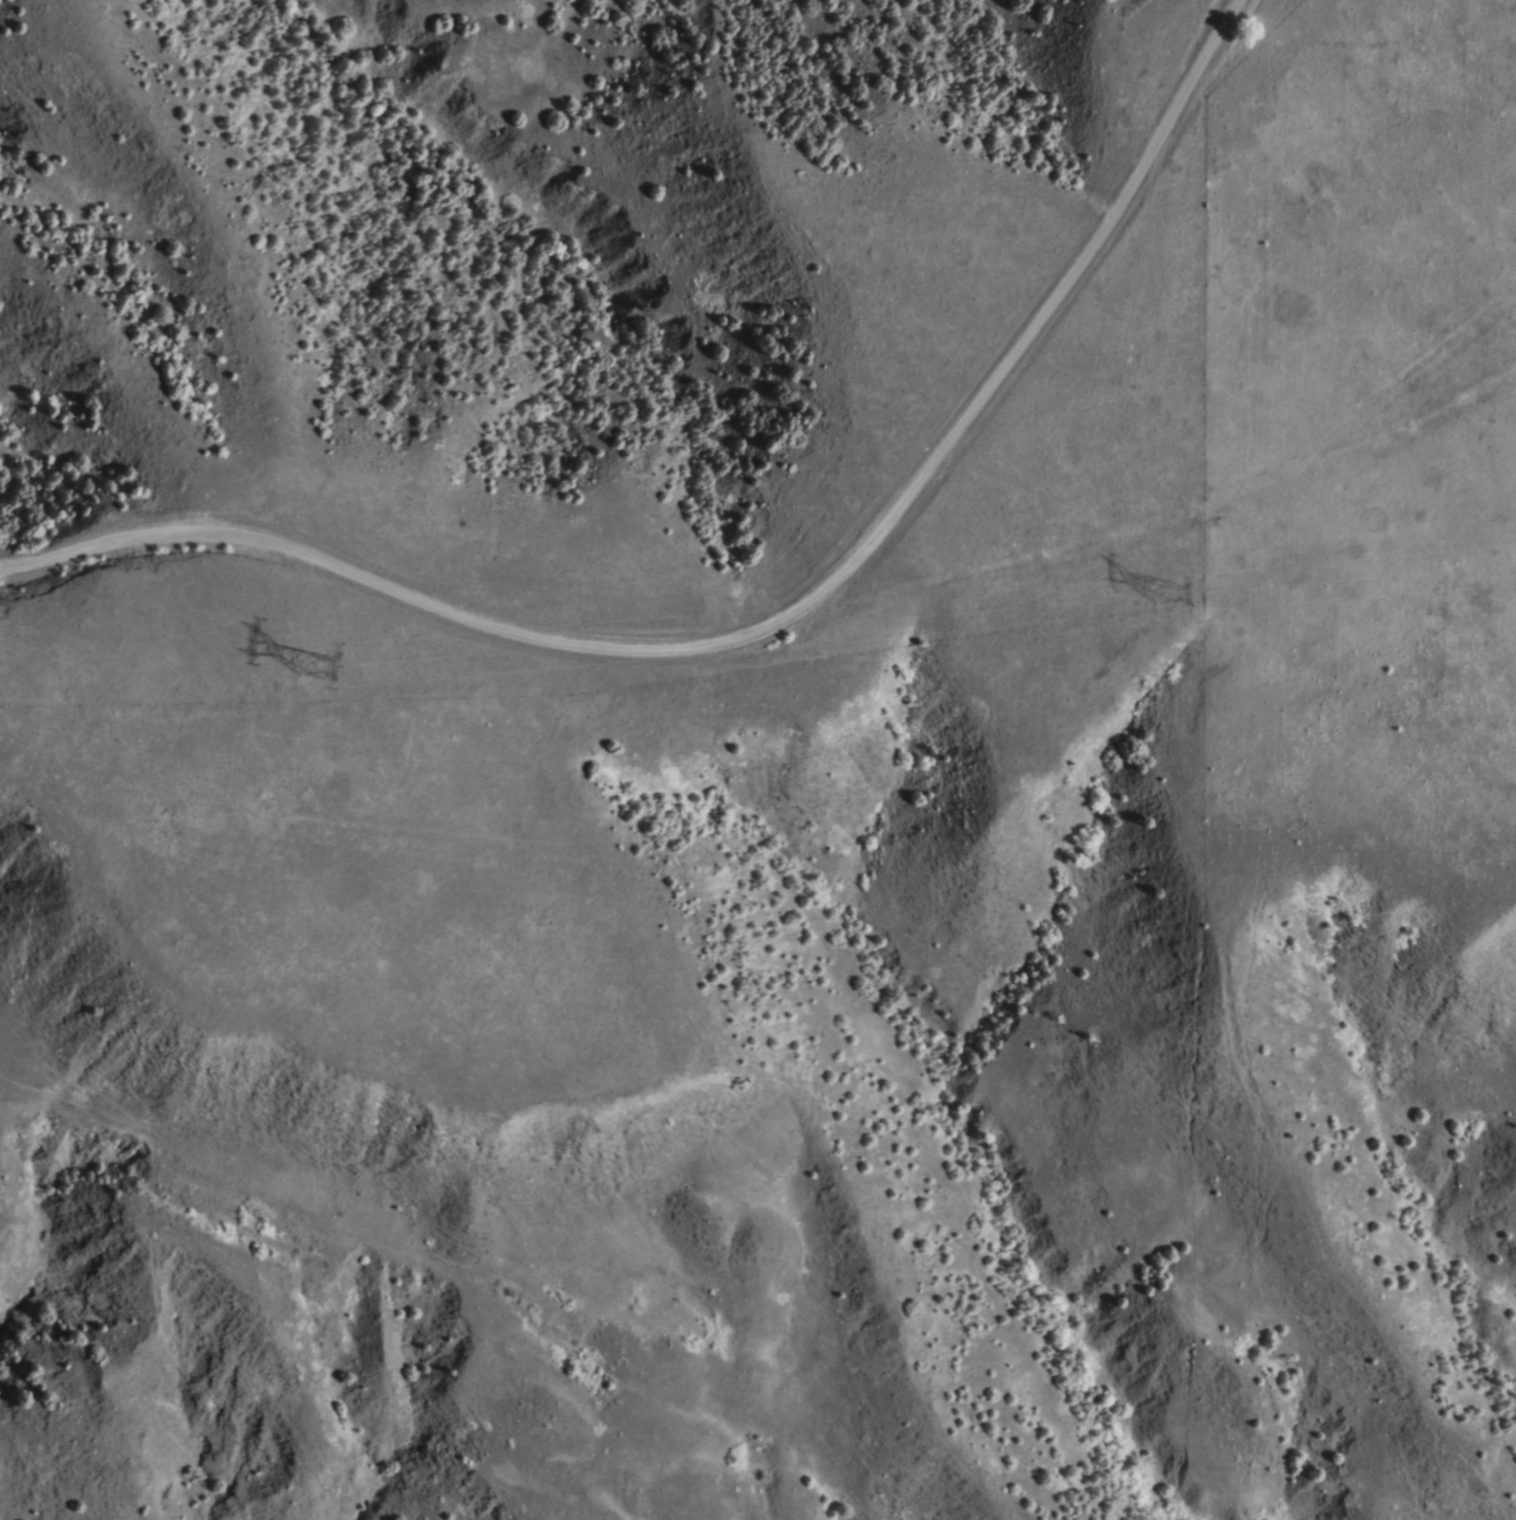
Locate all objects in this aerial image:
road: (761, 587)
power tower: (1167, 594)
power tower: (317, 669)

